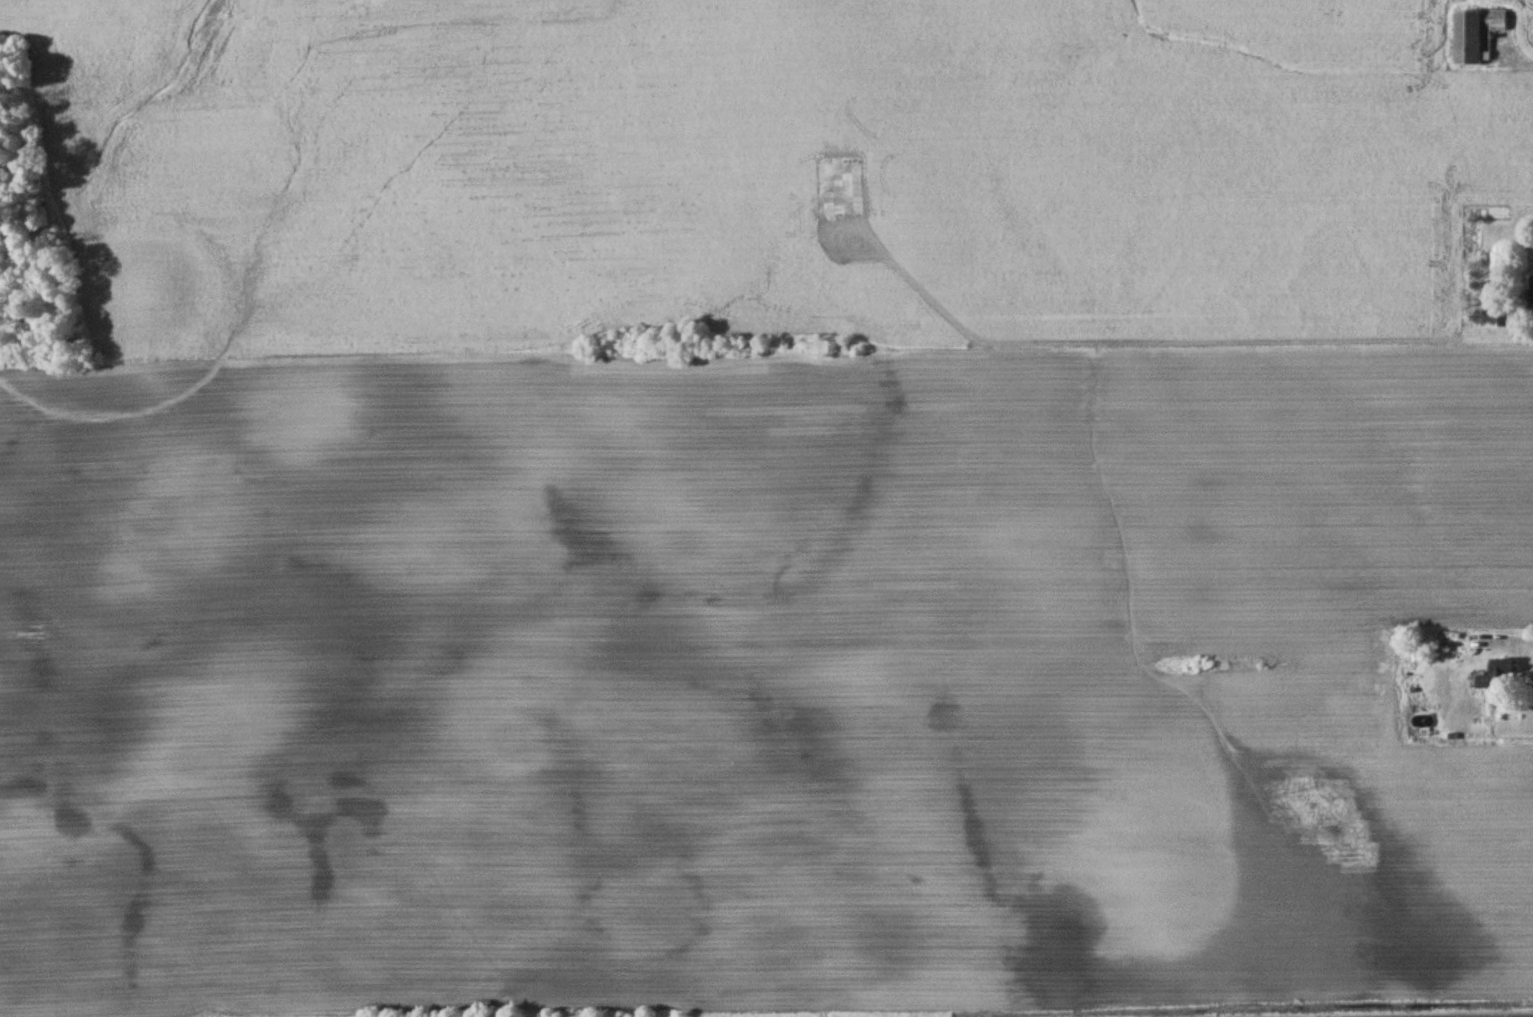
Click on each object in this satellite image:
building: (1476, 37)
road: (1521, 57)
building: (1532, 294)
road: (1509, 642)
building: (1497, 678)

